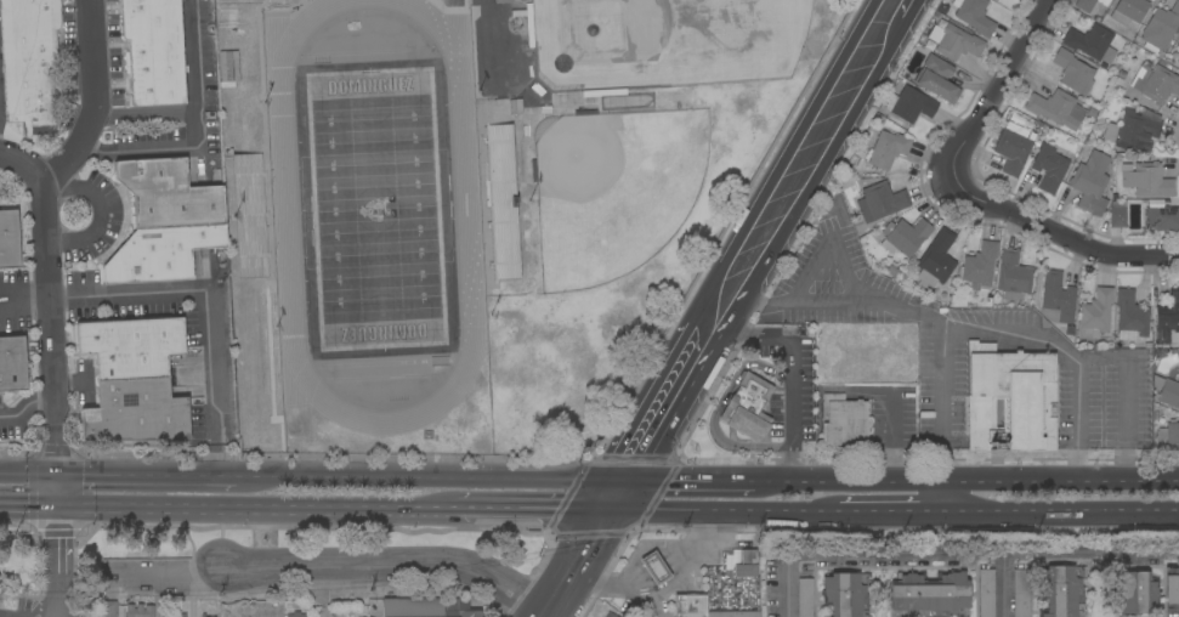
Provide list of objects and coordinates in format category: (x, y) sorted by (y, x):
building: (503, 1)
building: (1089, 4)
building: (1128, 11)
building: (229, 15)
building: (975, 17)
building: (529, 24)
building: (1160, 28)
park: (663, 40)
building: (954, 41)
building: (1092, 43)
building: (1178, 44)
building: (154, 51)
building: (29, 62)
building: (1072, 72)
building: (936, 79)
building: (1155, 83)
road: (1002, 84)
building: (603, 92)
road: (93, 103)
building: (909, 104)
building: (1056, 109)
road: (143, 112)
building: (1133, 131)
road: (197, 132)
building: (1014, 147)
building: (888, 149)
building: (1049, 168)
building: (1146, 180)
building: (1090, 183)
park: (617, 186)
building: (169, 194)
building: (880, 202)
track: (464, 205)
building: (1117, 214)
road: (97, 215)
building: (1162, 219)
road: (1060, 233)
building: (905, 236)
building: (8, 239)
road: (764, 240)
building: (160, 253)
building: (936, 260)
building: (980, 265)
building: (1013, 276)
road: (50, 279)
building: (1056, 299)
road: (206, 307)
building: (1095, 315)
building: (1129, 316)
building: (1167, 319)
road: (988, 330)
building: (131, 346)
building: (12, 363)
road: (792, 374)
road: (73, 381)
building: (1167, 392)
building: (1010, 400)
road: (945, 401)
road: (28, 406)
building: (747, 407)
building: (136, 412)
road: (1078, 420)
building: (844, 423)
building: (1167, 440)
road: (62, 466)
road: (30, 474)
traffic signals: (63, 475)
road: (149, 476)
road: (432, 480)
road: (965, 480)
traffic signals: (629, 482)
road: (691, 482)
road: (620, 497)
road: (30, 508)
traffic signals: (62, 509)
road: (260, 511)
road: (535, 511)
traffic signals: (612, 511)
road: (724, 511)
road: (888, 511)
road: (1059, 511)
road: (954, 555)
road: (390, 559)
road: (59, 562)
road: (578, 564)
building: (746, 564)
building: (654, 568)
road: (169, 571)
road: (1001, 585)
road: (323, 588)
building: (1172, 589)
road: (664, 590)
building: (1061, 591)
building: (986, 593)
building: (1020, 593)
building: (1133, 593)
building: (845, 594)
building: (929, 595)
building: (805, 598)
building: (690, 605)
building: (426, 607)
building: (108, 608)
building: (233, 608)
building: (142, 611)
building: (735, 613)
road: (10, 615)
building: (175, 615)
building: (203, 615)
building: (295, 615)
building: (610, 615)

